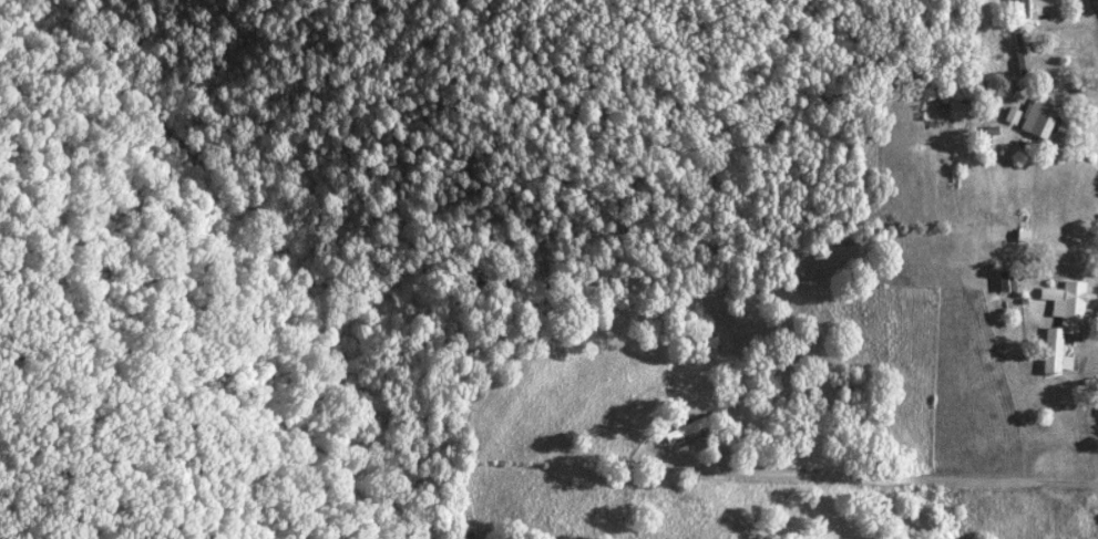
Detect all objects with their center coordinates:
building: (1023, 8)
road: (1095, 13)
building: (1009, 115)
building: (1035, 117)
building: (1002, 281)
building: (1058, 322)
road: (687, 459)
road: (913, 485)

